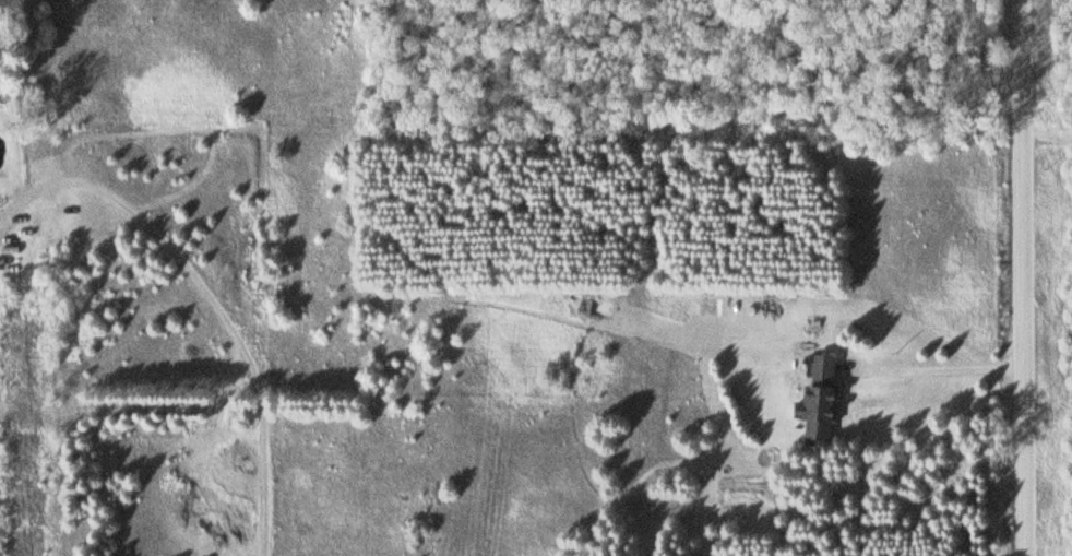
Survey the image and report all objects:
road: (1048, 134)
road: (1025, 277)
building: (824, 401)

